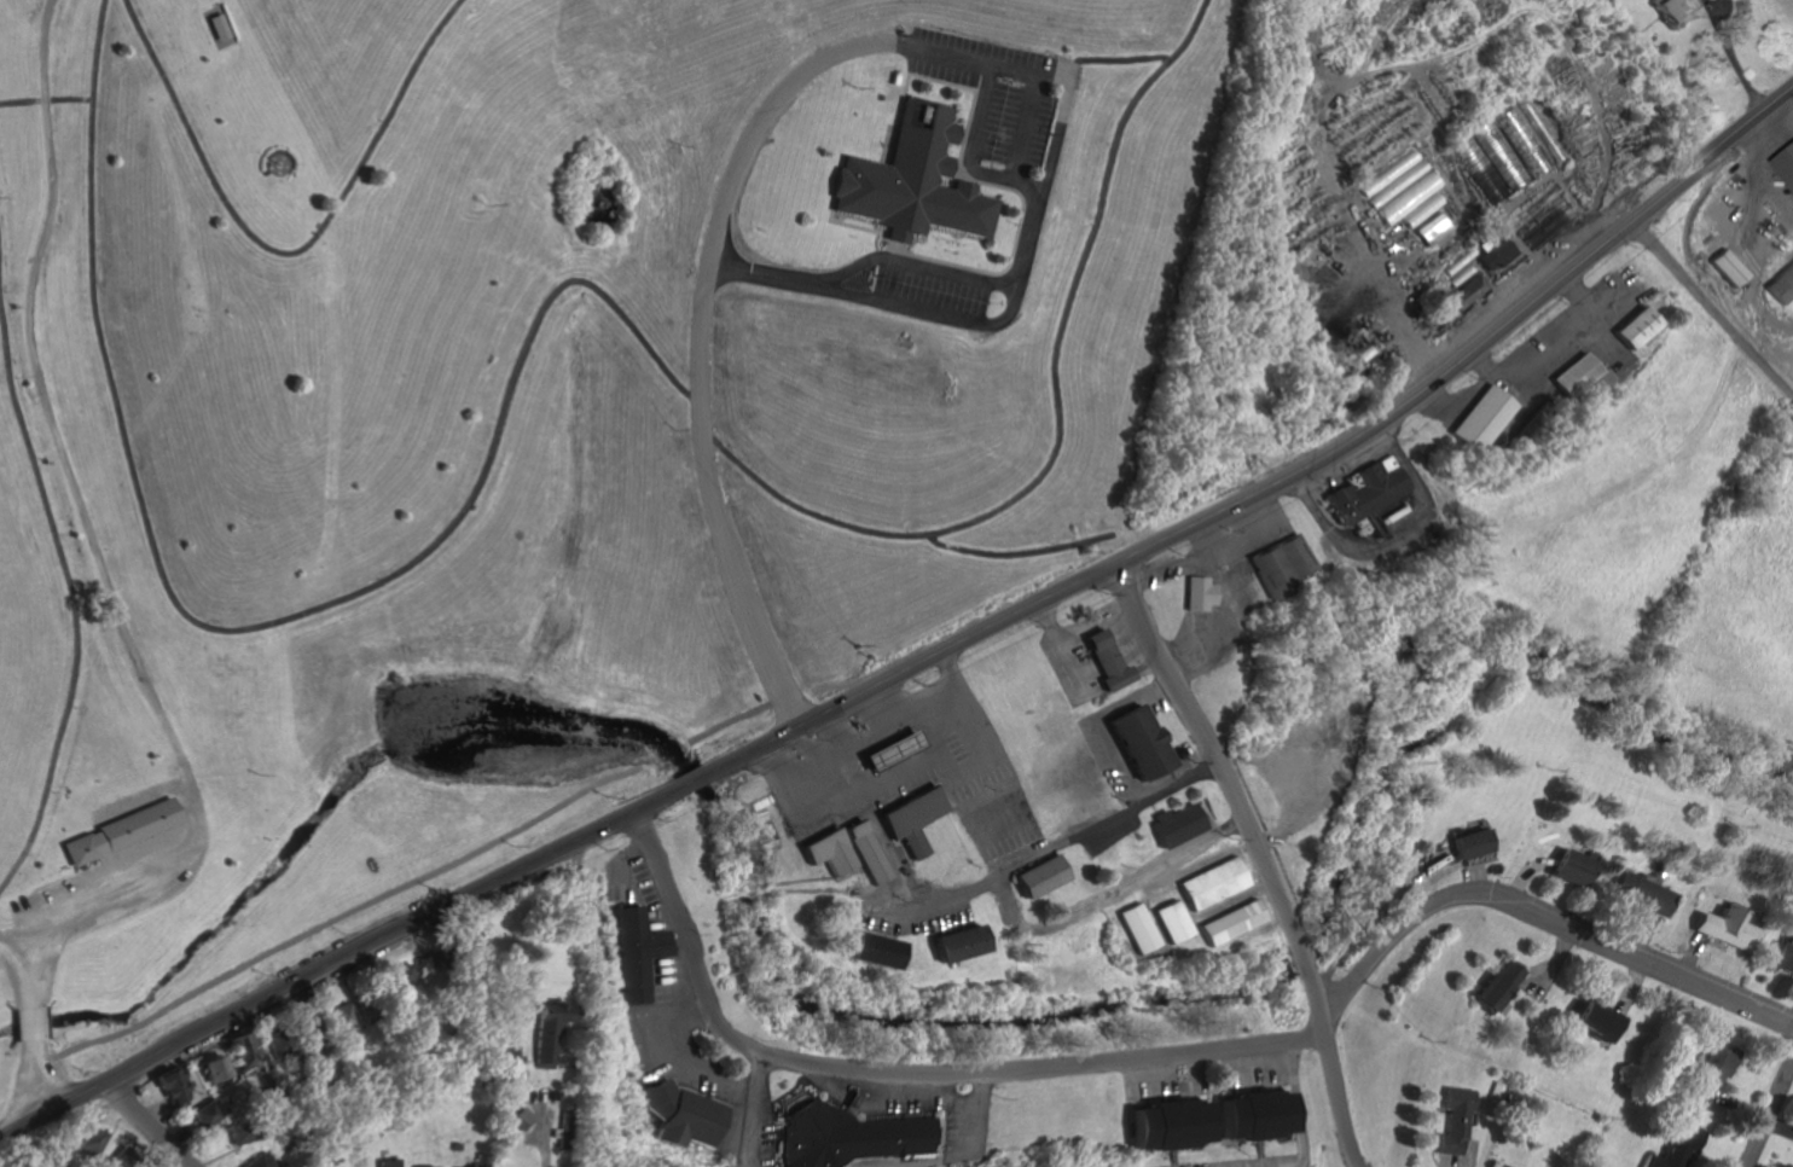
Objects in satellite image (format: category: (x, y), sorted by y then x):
building: (1667, 11)
building: (221, 27)
road: (860, 43)
road: (1114, 58)
road: (48, 97)
road: (1789, 98)
road: (1026, 126)
road: (974, 147)
building: (1788, 162)
flagpole: (284, 164)
road: (1764, 169)
building: (1394, 179)
building: (915, 180)
building: (1408, 199)
building: (1421, 211)
building: (1429, 228)
road: (290, 252)
building: (1493, 252)
road: (918, 259)
building: (1725, 267)
road: (1751, 279)
building: (1780, 284)
building: (1464, 292)
road: (1710, 312)
building: (1631, 327)
building: (1577, 376)
road: (1060, 414)
building: (1479, 418)
road: (1283, 477)
building: (1363, 490)
building: (1382, 510)
road: (89, 521)
road: (1019, 552)
building: (1276, 565)
road: (71, 574)
building: (1196, 593)
road: (248, 623)
building: (1106, 655)
road: (942, 675)
road: (849, 739)
building: (1132, 741)
building: (889, 749)
gas station: (889, 749)
road: (690, 782)
road: (1232, 790)
building: (907, 817)
building: (138, 821)
building: (1168, 824)
road: (869, 828)
road: (1054, 842)
building: (1467, 843)
building: (83, 846)
road: (623, 849)
building: (828, 849)
building: (865, 849)
building: (1563, 866)
building: (1033, 875)
building: (1209, 882)
road: (1110, 893)
building: (1636, 893)
road: (1542, 919)
building: (1170, 921)
building: (1229, 922)
building: (1135, 927)
building: (1717, 927)
road: (13, 929)
building: (952, 942)
building: (869, 948)
building: (634, 952)
building: (1779, 957)
road: (332, 962)
road: (28, 968)
building: (399, 974)
road: (674, 979)
building: (1496, 983)
building: (340, 1016)
building: (1595, 1020)
road: (29, 1022)
building: (542, 1029)
building: (240, 1050)
road: (675, 1053)
building: (509, 1056)
road: (1251, 1058)
building: (210, 1067)
road: (904, 1070)
road: (1147, 1070)
building: (1706, 1075)
road: (31, 1079)
building: (166, 1084)
road: (1341, 1098)
road: (1293, 1102)
road: (749, 1108)
building: (203, 1111)
building: (677, 1114)
building: (1248, 1114)
building: (1453, 1120)
road: (1772, 1120)
building: (1161, 1122)
road: (141, 1125)
building: (237, 1132)
building: (843, 1136)
road: (541, 1137)
building: (87, 1142)
building: (1675, 1146)
building: (257, 1160)
building: (476, 1161)
building: (387, 1162)
building: (422, 1166)
building: (1499, 1166)

